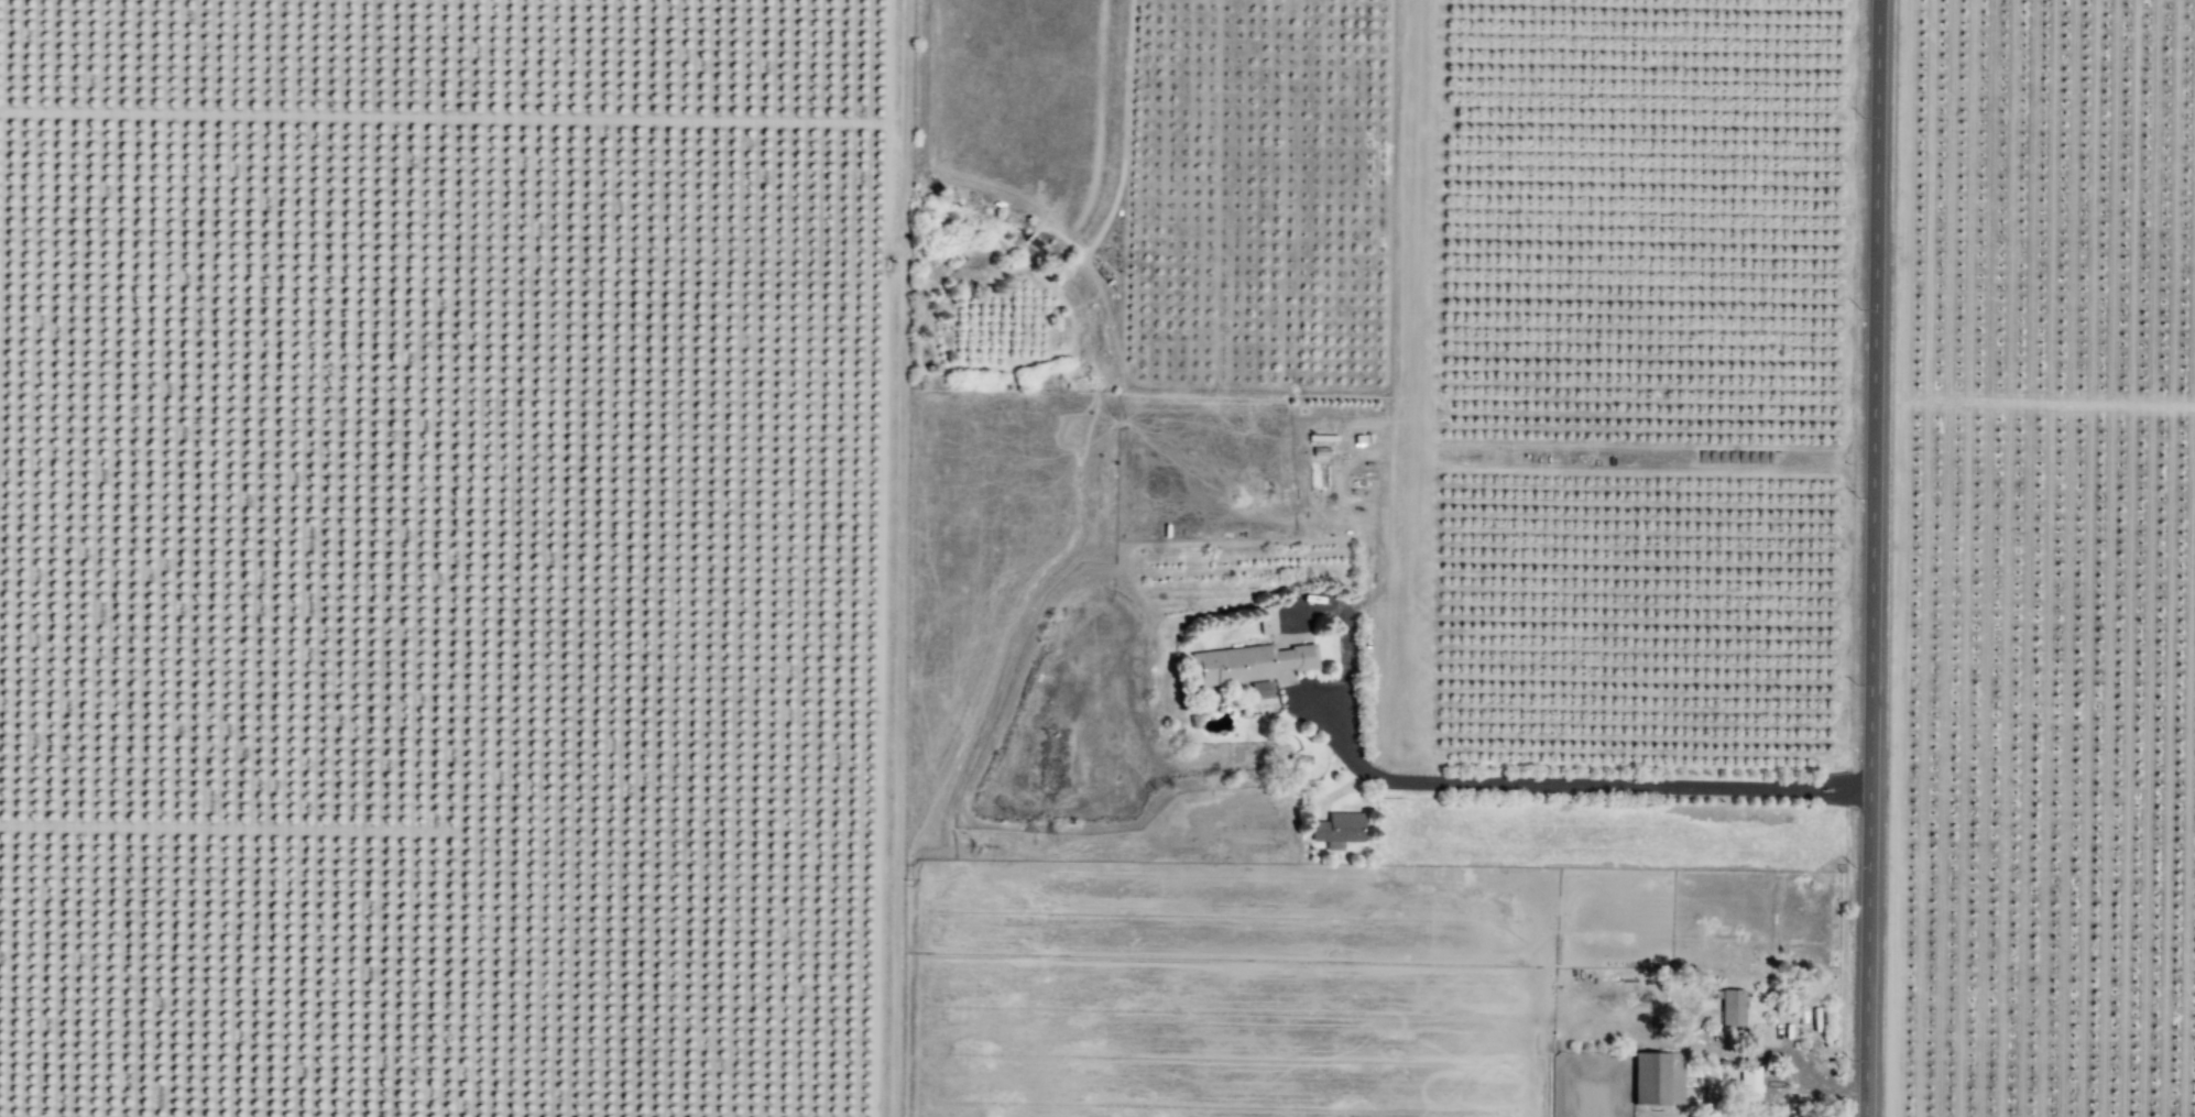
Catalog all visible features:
road: (1870, 558)
building: (1247, 664)
building: (1256, 689)
building: (1335, 830)
building: (1729, 1008)
building: (1655, 1080)
building: (1747, 1086)

